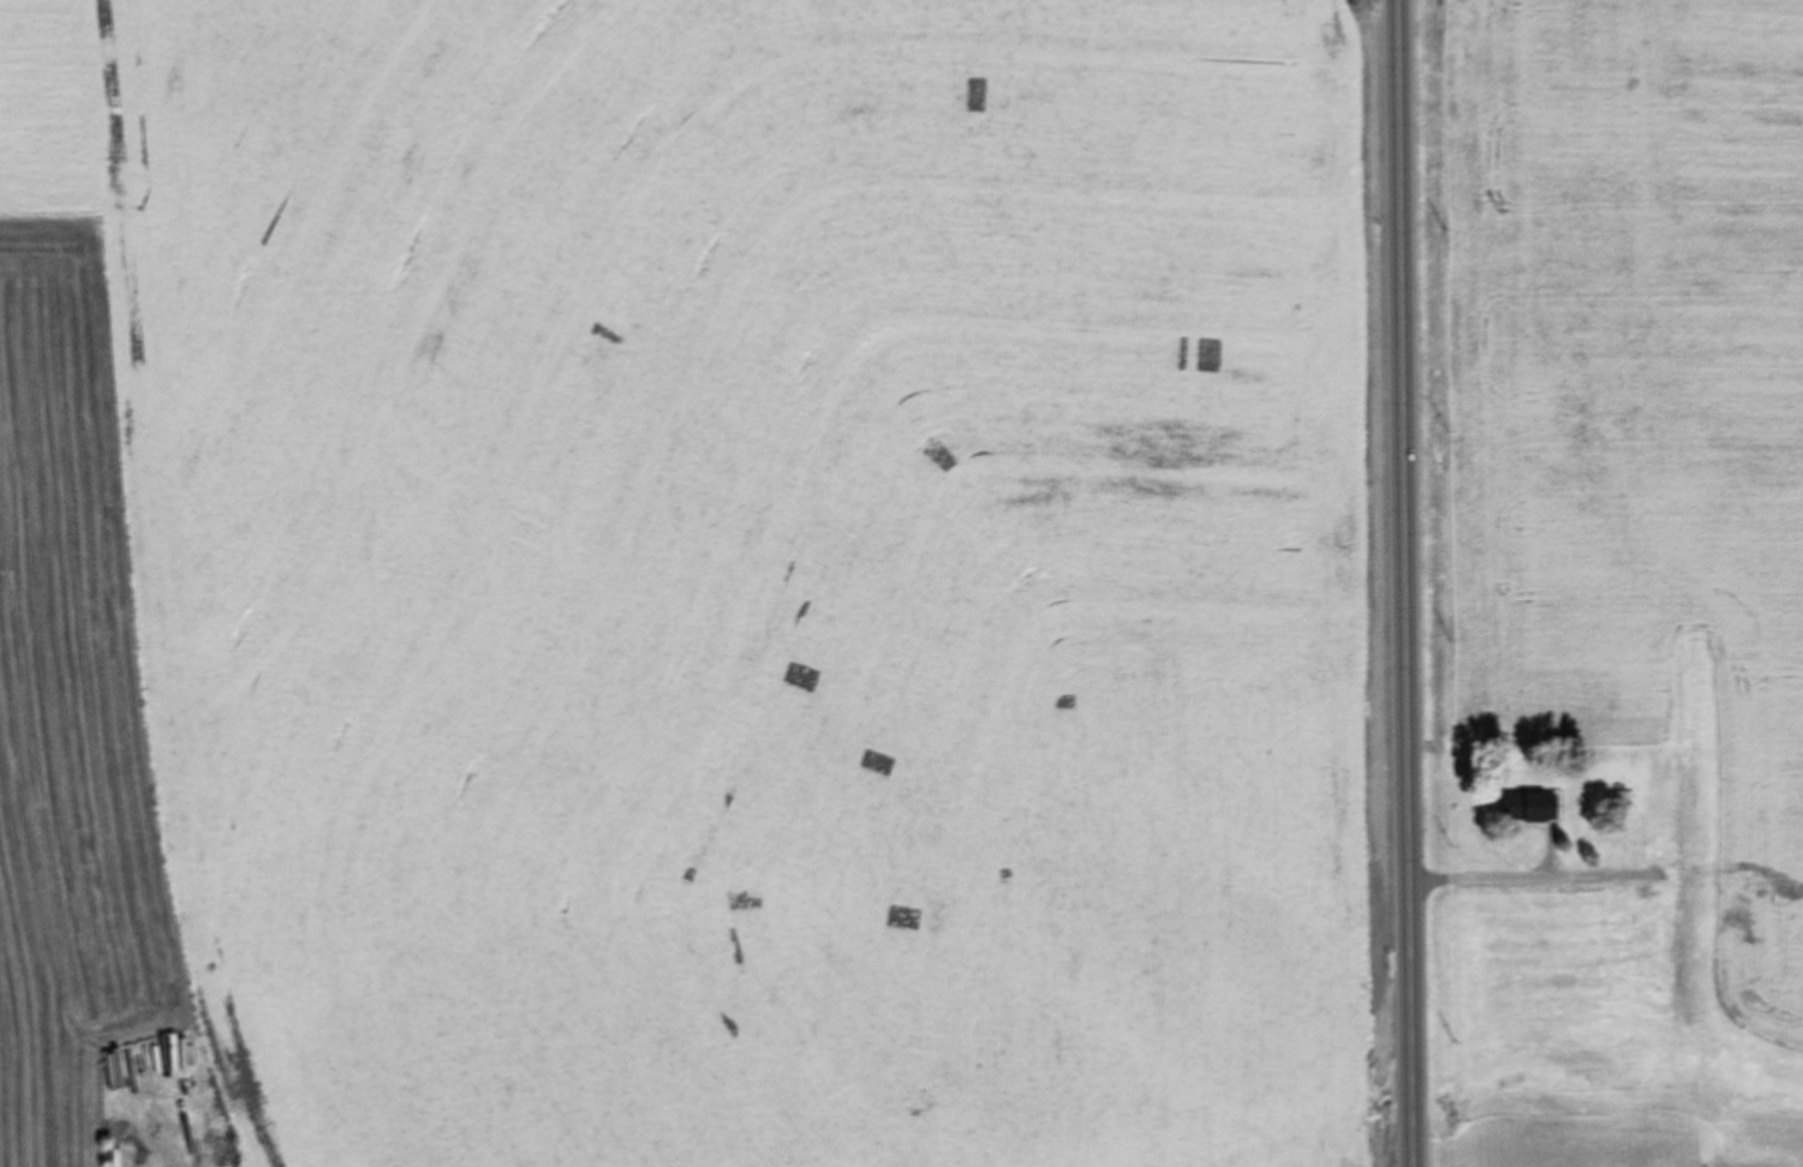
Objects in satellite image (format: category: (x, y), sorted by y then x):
road: (1402, 358)
building: (1529, 807)
road: (1409, 941)
building: (1767, 979)

